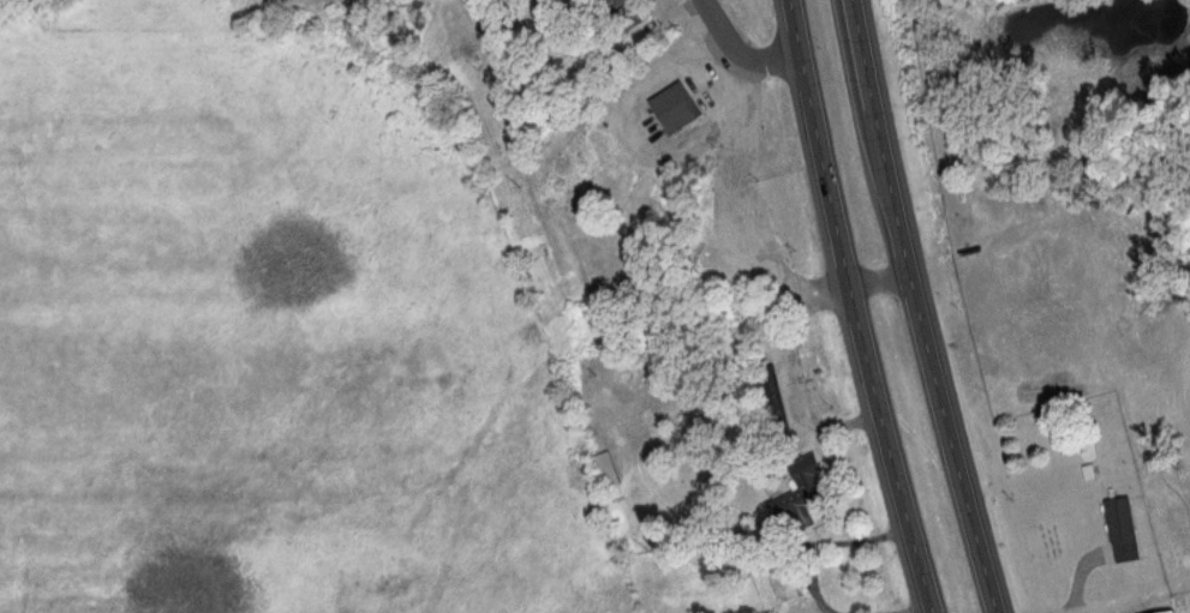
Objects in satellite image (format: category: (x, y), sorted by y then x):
road: (723, 17)
road: (857, 26)
road: (794, 30)
road: (763, 59)
building: (677, 109)
road: (751, 234)
road: (923, 335)
road: (861, 337)
building: (606, 470)
building: (797, 507)
building: (1128, 530)
road: (829, 551)
building: (793, 587)
road: (929, 612)
building: (1179, 612)

